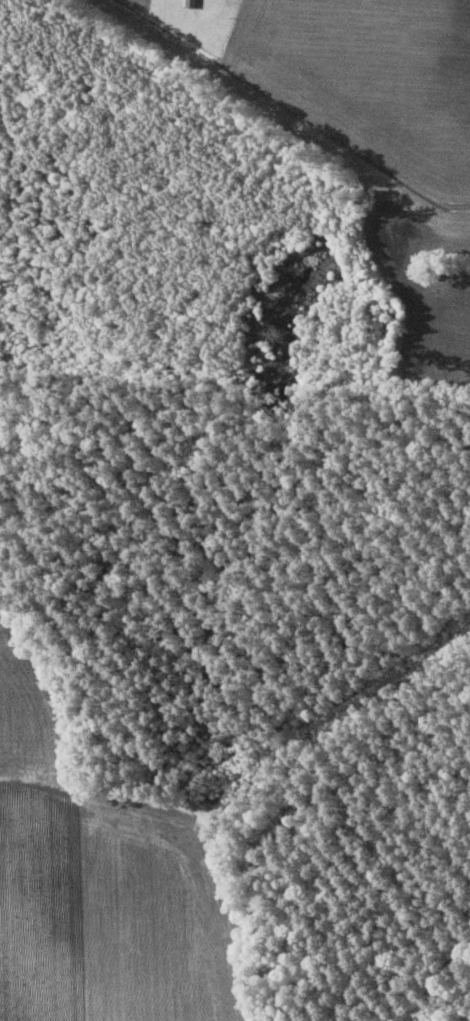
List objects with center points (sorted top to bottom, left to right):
building: (191, 3)
crop: (143, 5)
crop: (370, 78)
crop: (426, 222)
crop: (435, 327)
crop: (103, 878)

